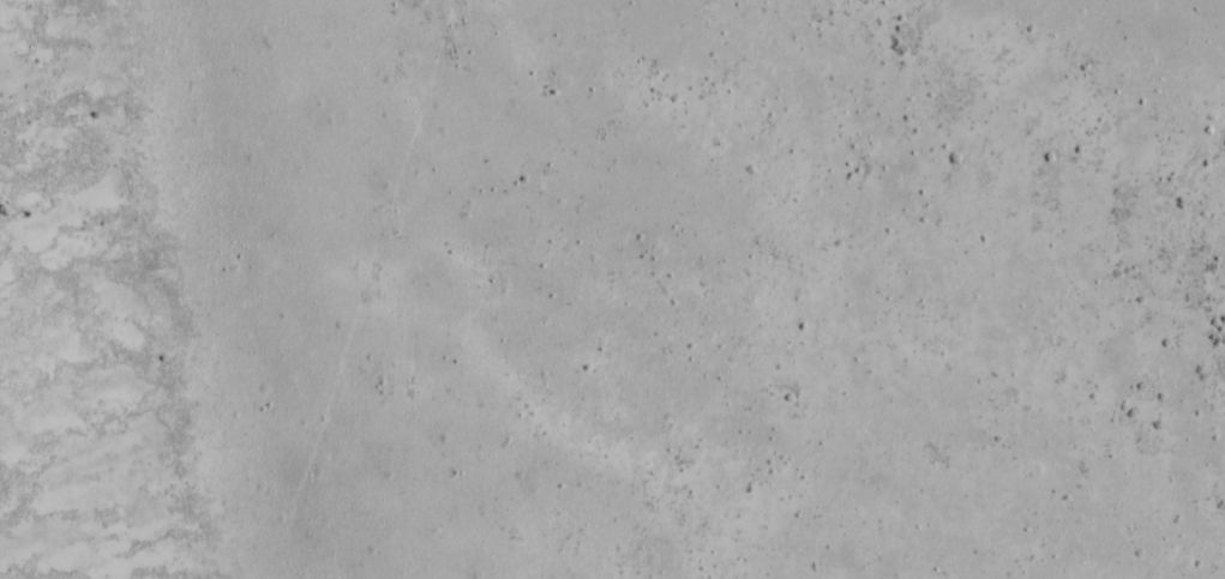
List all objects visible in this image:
road: (348, 283)

